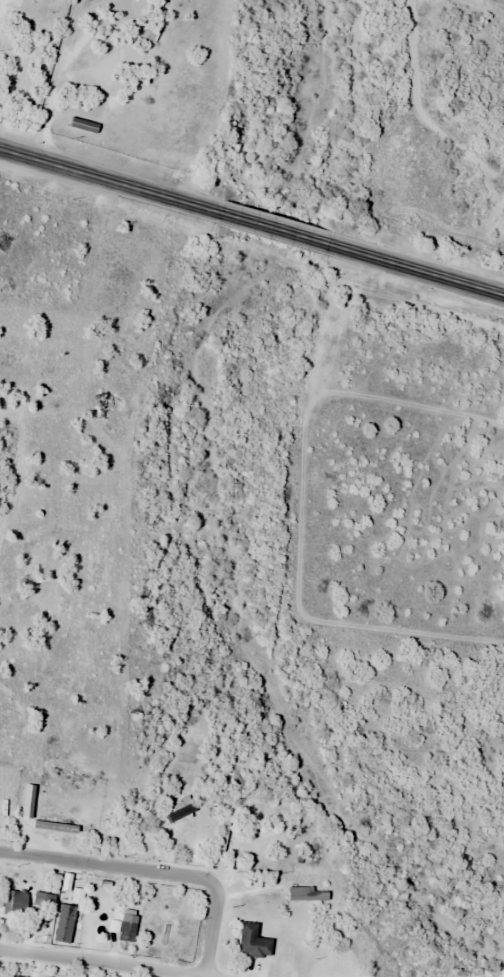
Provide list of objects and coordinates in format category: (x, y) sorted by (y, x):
road: (103, 178)
road: (277, 229)
road: (426, 272)
building: (58, 812)
building: (112, 823)
building: (189, 834)
building: (223, 834)
building: (307, 895)
building: (256, 900)
building: (48, 902)
building: (15, 905)
road: (214, 919)
building: (65, 924)
building: (128, 929)
building: (253, 942)

